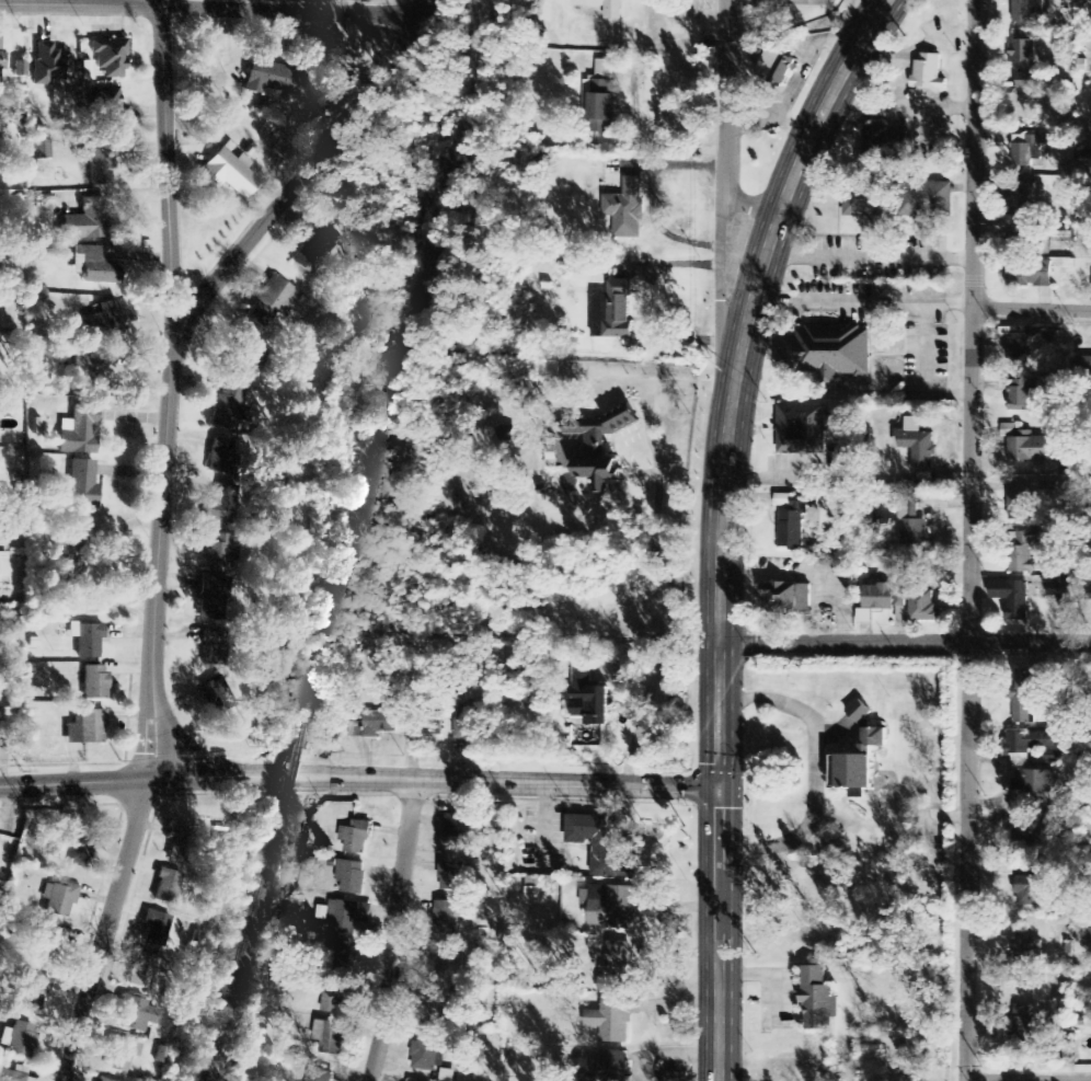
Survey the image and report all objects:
park: (332, 1)
road: (158, 2)
road: (220, 5)
building: (1027, 11)
building: (613, 14)
building: (1023, 56)
building: (110, 57)
building: (1, 61)
building: (47, 65)
building: (778, 68)
building: (928, 72)
building: (269, 77)
building: (1033, 82)
building: (107, 105)
building: (601, 112)
building: (885, 142)
building: (1027, 149)
building: (38, 150)
building: (101, 162)
road: (168, 172)
building: (232, 174)
road: (726, 174)
building: (1023, 198)
building: (925, 199)
building: (863, 200)
building: (630, 209)
building: (88, 220)
building: (317, 251)
building: (97, 267)
building: (1029, 274)
building: (272, 304)
road: (1032, 310)
building: (612, 311)
building: (106, 322)
building: (259, 330)
road: (172, 340)
building: (1054, 341)
building: (1024, 348)
building: (826, 354)
building: (237, 355)
building: (1084, 366)
railway: (397, 370)
building: (1022, 394)
building: (228, 409)
building: (801, 429)
building: (601, 430)
building: (80, 432)
building: (507, 434)
building: (917, 448)
building: (1030, 449)
building: (218, 456)
building: (552, 458)
building: (599, 474)
building: (82, 485)
building: (220, 505)
building: (1019, 508)
building: (911, 520)
road: (721, 524)
road: (969, 540)
building: (1025, 552)
building: (218, 554)
building: (69, 559)
building: (1057, 586)
building: (211, 597)
building: (877, 597)
building: (786, 598)
building: (1012, 598)
building: (917, 606)
building: (864, 617)
building: (87, 640)
road: (905, 645)
building: (213, 654)
building: (94, 682)
building: (216, 695)
building: (587, 697)
building: (1023, 697)
building: (859, 713)
building: (379, 723)
building: (464, 723)
building: (426, 727)
building: (85, 728)
building: (1030, 743)
building: (858, 764)
railway: (287, 773)
road: (359, 780)
building: (1035, 782)
traffic signals: (721, 785)
building: (499, 817)
building: (458, 831)
building: (1029, 832)
building: (356, 838)
building: (177, 842)
building: (605, 843)
building: (77, 849)
building: (452, 873)
building: (351, 877)
building: (165, 886)
building: (1030, 889)
building: (533, 890)
building: (58, 898)
building: (611, 907)
building: (449, 916)
building: (347, 917)
building: (154, 928)
road: (108, 930)
road: (392, 931)
railway: (240, 941)
building: (47, 946)
building: (1027, 950)
building: (337, 955)
building: (447, 966)
building: (616, 966)
building: (142, 970)
building: (34, 992)
building: (331, 998)
building: (818, 999)
building: (433, 1010)
building: (135, 1014)
building: (615, 1017)
building: (1022, 1024)
building: (330, 1036)
building: (20, 1039)
building: (427, 1054)
building: (124, 1055)
building: (605, 1067)
building: (320, 1074)
building: (10, 1076)
road: (1027, 1078)
railway: (202, 1079)
railway: (202, 1079)
building: (103, 1080)

